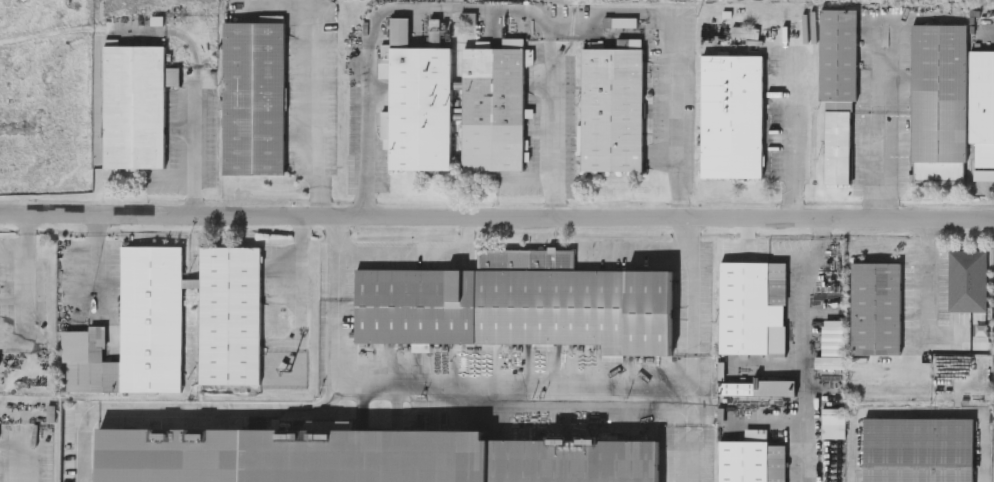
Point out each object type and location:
road: (427, 7)
building: (839, 89)
building: (254, 97)
building: (939, 102)
building: (135, 104)
building: (456, 105)
building: (982, 105)
building: (612, 108)
road: (317, 111)
building: (732, 115)
road: (563, 117)
road: (677, 126)
road: (796, 142)
road: (877, 142)
road: (195, 146)
building: (984, 173)
road: (496, 222)
road: (400, 246)
road: (635, 248)
road: (815, 259)
road: (336, 274)
building: (967, 279)
road: (926, 284)
road: (691, 291)
building: (518, 303)
building: (753, 307)
building: (876, 308)
building: (174, 322)
road: (808, 386)
road: (488, 387)
building: (758, 387)
road: (189, 411)
road: (690, 433)
building: (918, 449)
road: (31, 456)
building: (364, 456)
building: (752, 458)

